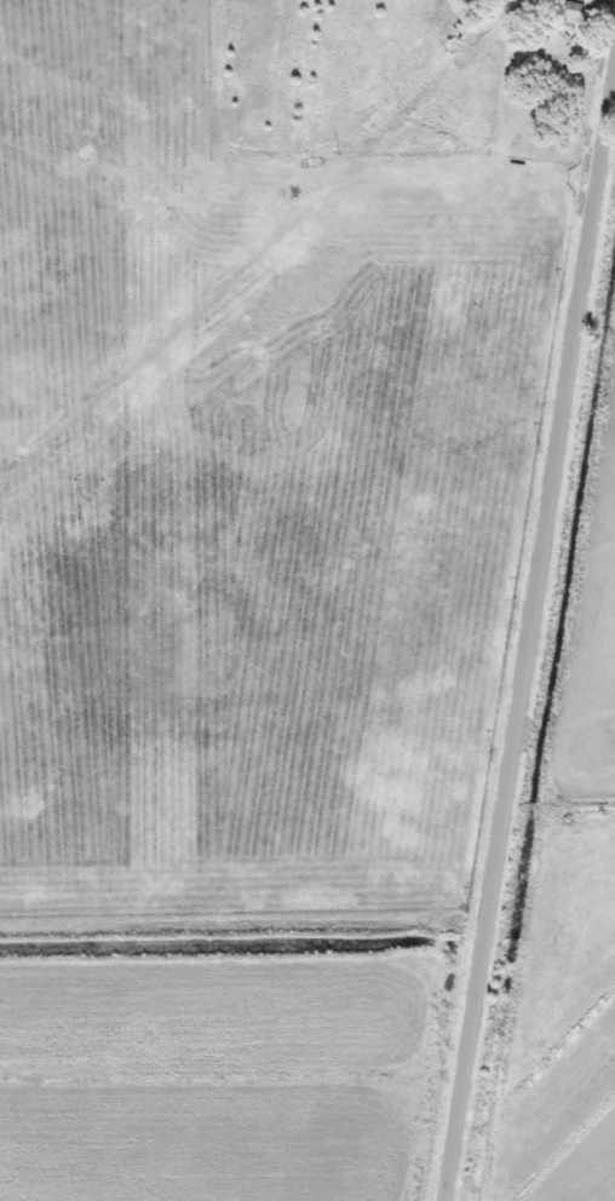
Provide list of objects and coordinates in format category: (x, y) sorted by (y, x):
road: (263, 247)
road: (527, 649)

